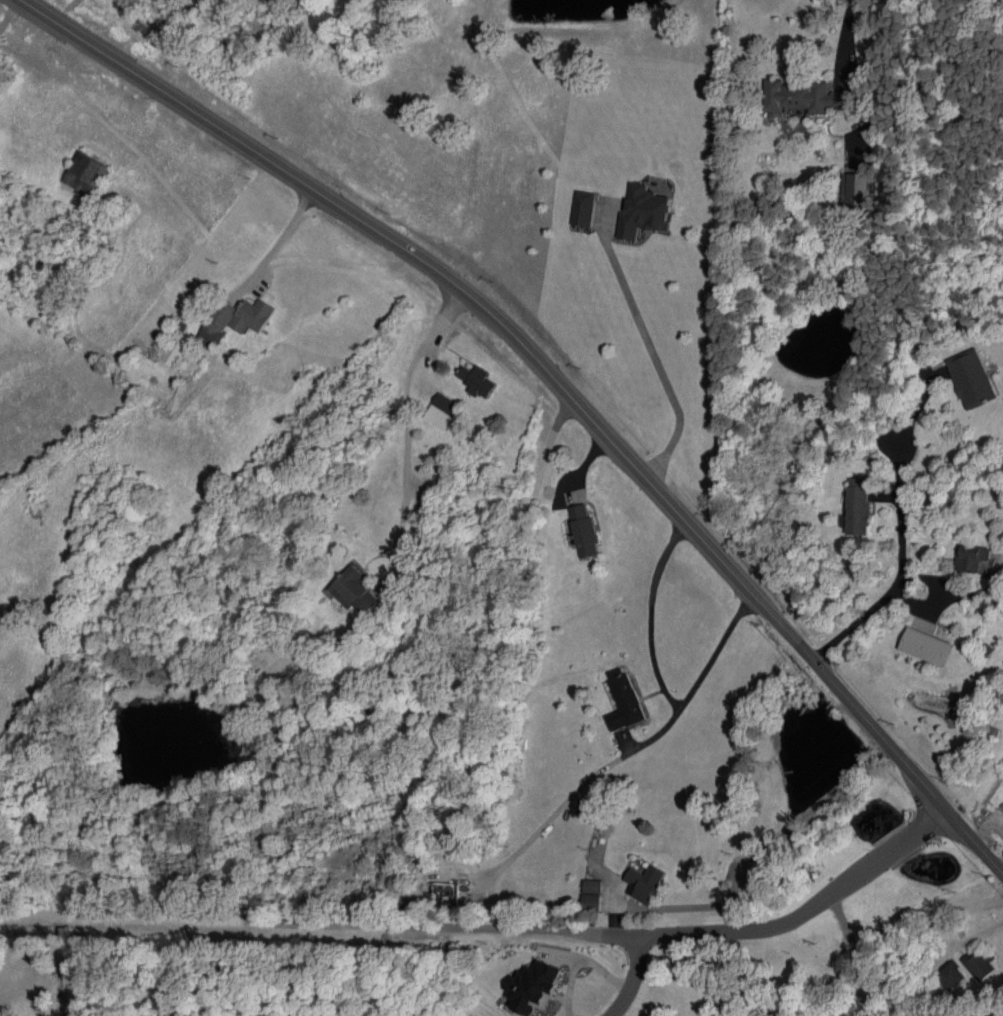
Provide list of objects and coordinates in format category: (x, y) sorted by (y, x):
road: (844, 33)
building: (86, 174)
building: (855, 191)
building: (583, 208)
building: (643, 212)
road: (280, 239)
building: (251, 315)
building: (217, 322)
building: (175, 351)
road: (654, 358)
building: (971, 378)
building: (477, 380)
road: (561, 385)
building: (442, 411)
road: (405, 422)
building: (857, 506)
road: (900, 530)
building: (584, 531)
building: (971, 557)
building: (354, 591)
road: (947, 599)
building: (926, 646)
road: (660, 678)
building: (623, 700)
road: (876, 758)
road: (832, 794)
road: (738, 878)
building: (644, 882)
building: (592, 886)
building: (446, 893)
building: (591, 901)
road: (488, 927)
road: (855, 954)
building: (979, 965)
road: (58, 967)
building: (951, 976)
road: (631, 978)
building: (534, 986)

